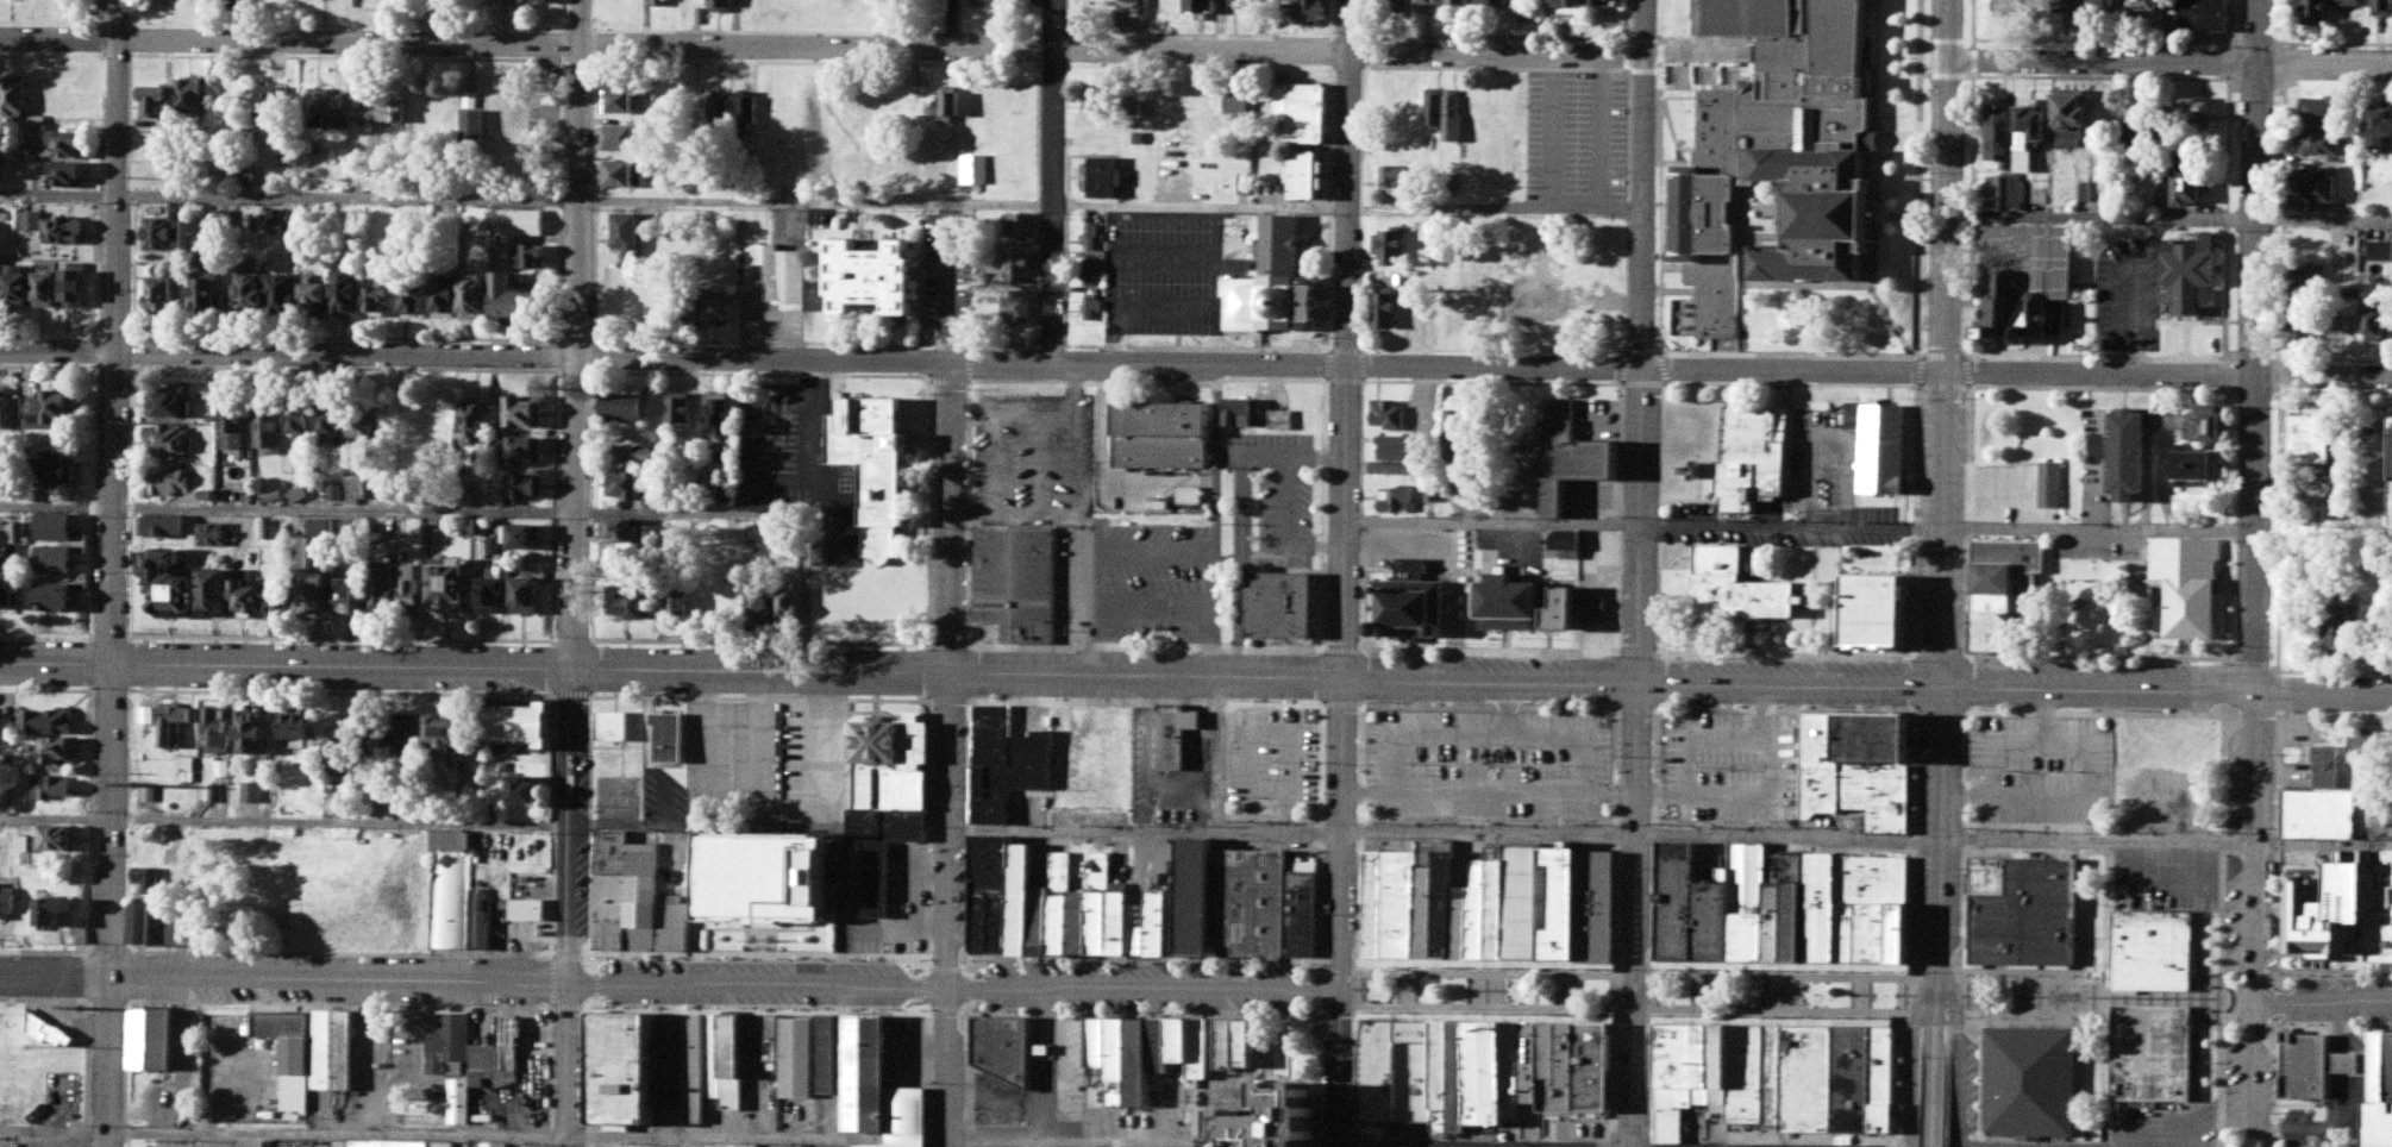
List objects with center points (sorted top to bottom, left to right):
road: (822, 50)
road: (2167, 61)
building: (2381, 132)
building: (1780, 152)
road: (1045, 178)
building: (2378, 252)
building: (2349, 318)
building: (2381, 325)
building: (2306, 330)
road: (1196, 359)
building: (1165, 422)
building: (2325, 444)
building: (1572, 453)
building: (2050, 477)
road: (113, 488)
road: (581, 489)
road: (1346, 494)
road: (1640, 496)
road: (1941, 499)
road: (2252, 500)
road: (2096, 516)
road: (764, 519)
road: (1492, 524)
building: (1283, 591)
building: (1595, 596)
building: (1409, 597)
building: (1510, 598)
building: (1749, 600)
building: (1563, 610)
building: (2338, 637)
road: (952, 670)
road: (1195, 671)
building: (2179, 741)
building: (2322, 806)
road: (788, 820)
building: (768, 864)
building: (1438, 897)
building: (1527, 900)
building: (2024, 900)
building: (1501, 901)
building: (1561, 901)
building: (1401, 903)
building: (1599, 903)
building: (1373, 904)
building: (1463, 907)
building: (2346, 907)
building: (1482, 908)
building: (2156, 941)
road: (670, 980)
road: (1793, 995)
road: (2319, 999)
road: (1934, 1017)
building: (151, 1028)
building: (2154, 1054)
road: (1959, 1058)
building: (1534, 1061)
road: (1914, 1061)
road: (108, 1063)
road: (575, 1063)
building: (1561, 1063)
building: (1445, 1064)
building: (1597, 1065)
road: (950, 1066)
building: (2313, 1066)
road: (1340, 1067)
building: (1517, 1068)
road: (1636, 1070)
building: (2033, 1070)
building: (1399, 1071)
building: (1491, 1072)
road: (2246, 1072)
building: (1464, 1077)
building: (2380, 1090)
road: (1933, 1092)
road: (671, 1130)
road: (1369, 1146)

